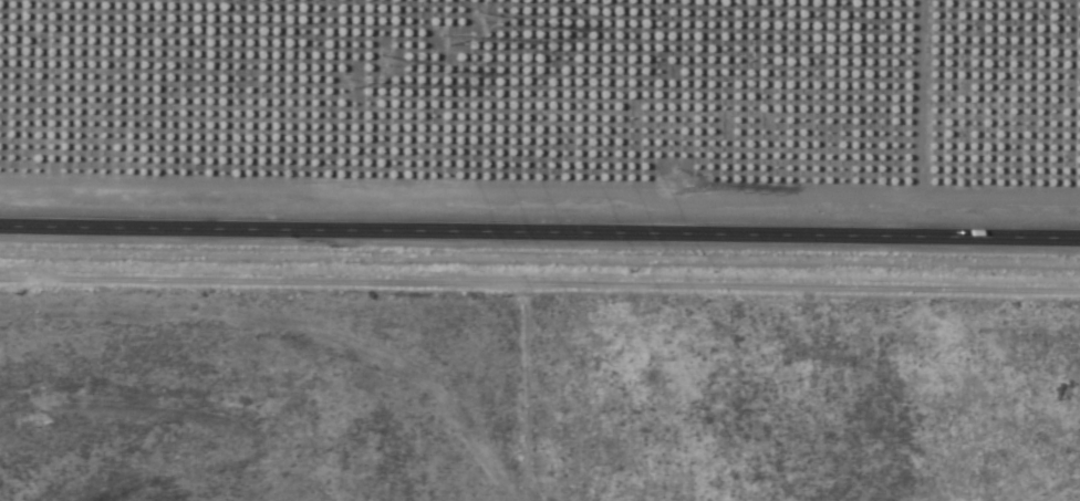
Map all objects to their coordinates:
power tower: (463, 6)
power tower: (388, 77)
power tower: (690, 177)
road: (540, 231)
crop: (534, 395)

